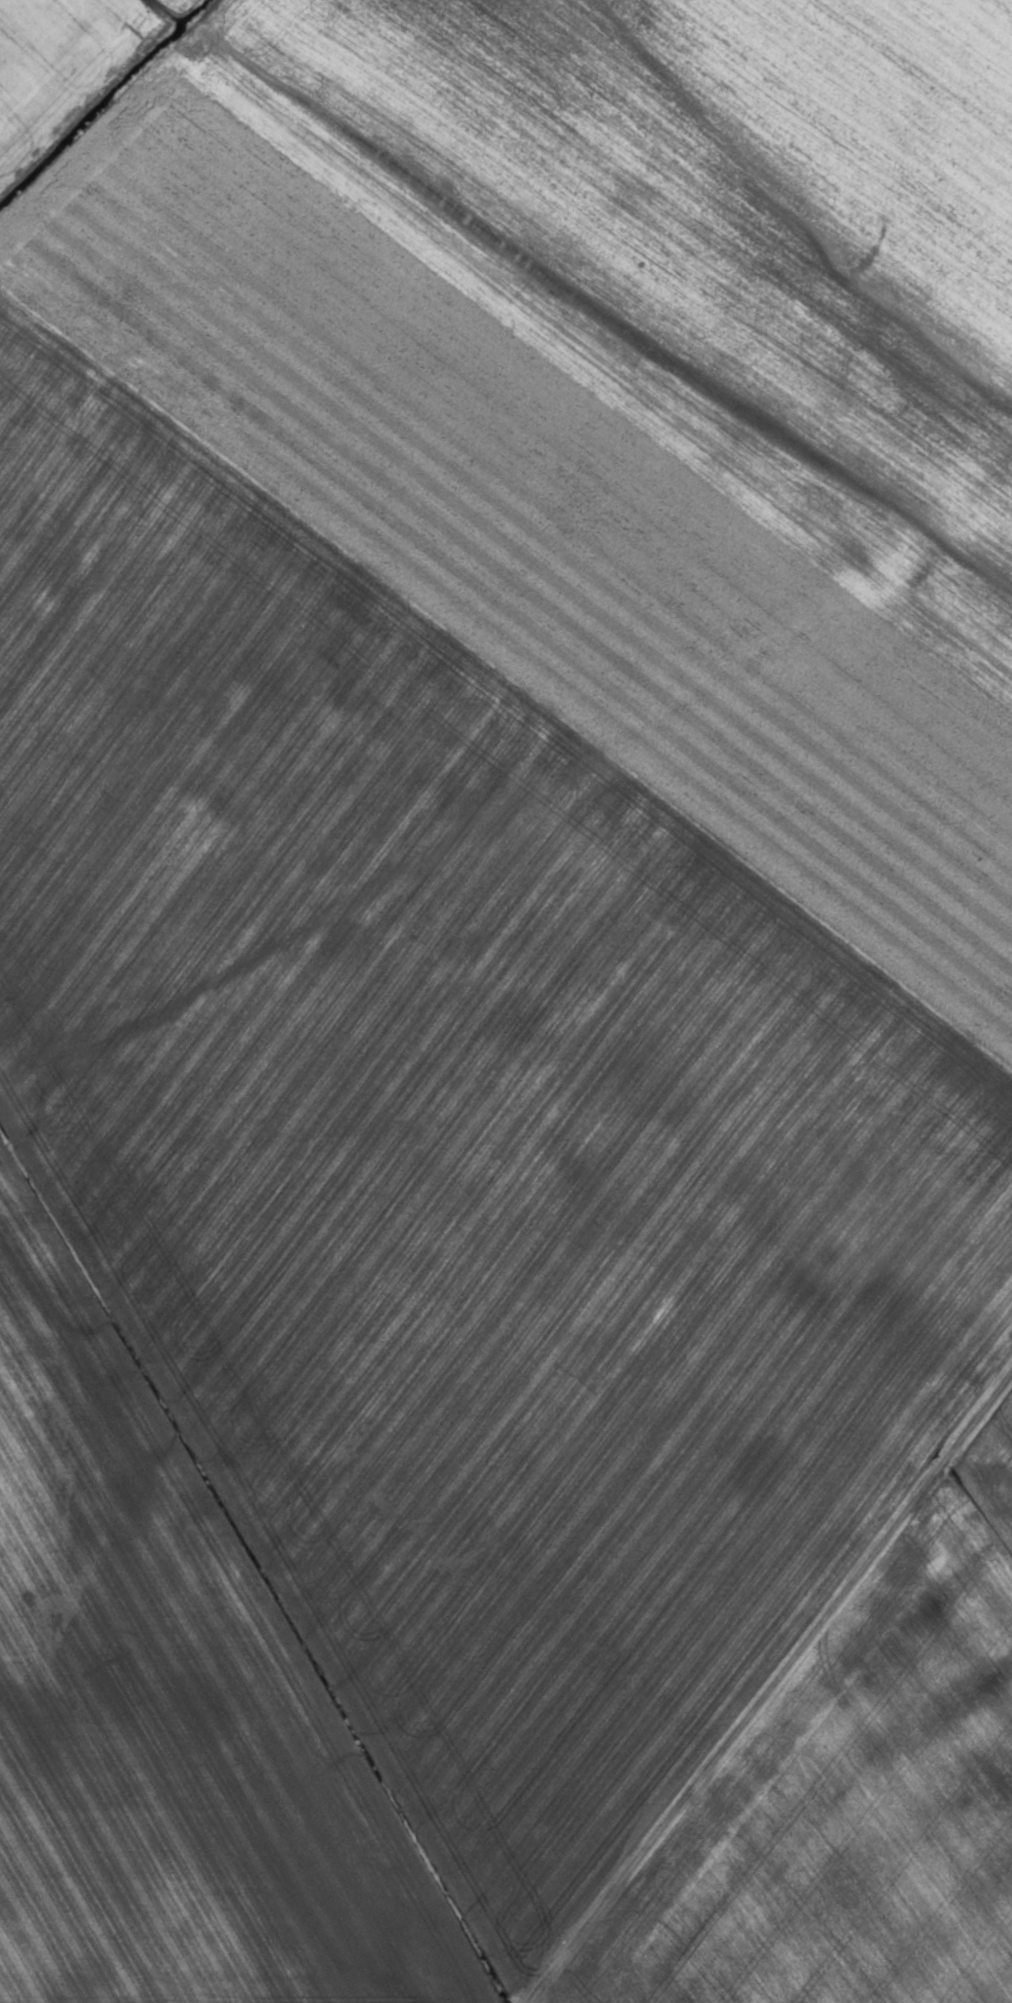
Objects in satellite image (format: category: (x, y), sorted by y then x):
road: (762, 1684)

